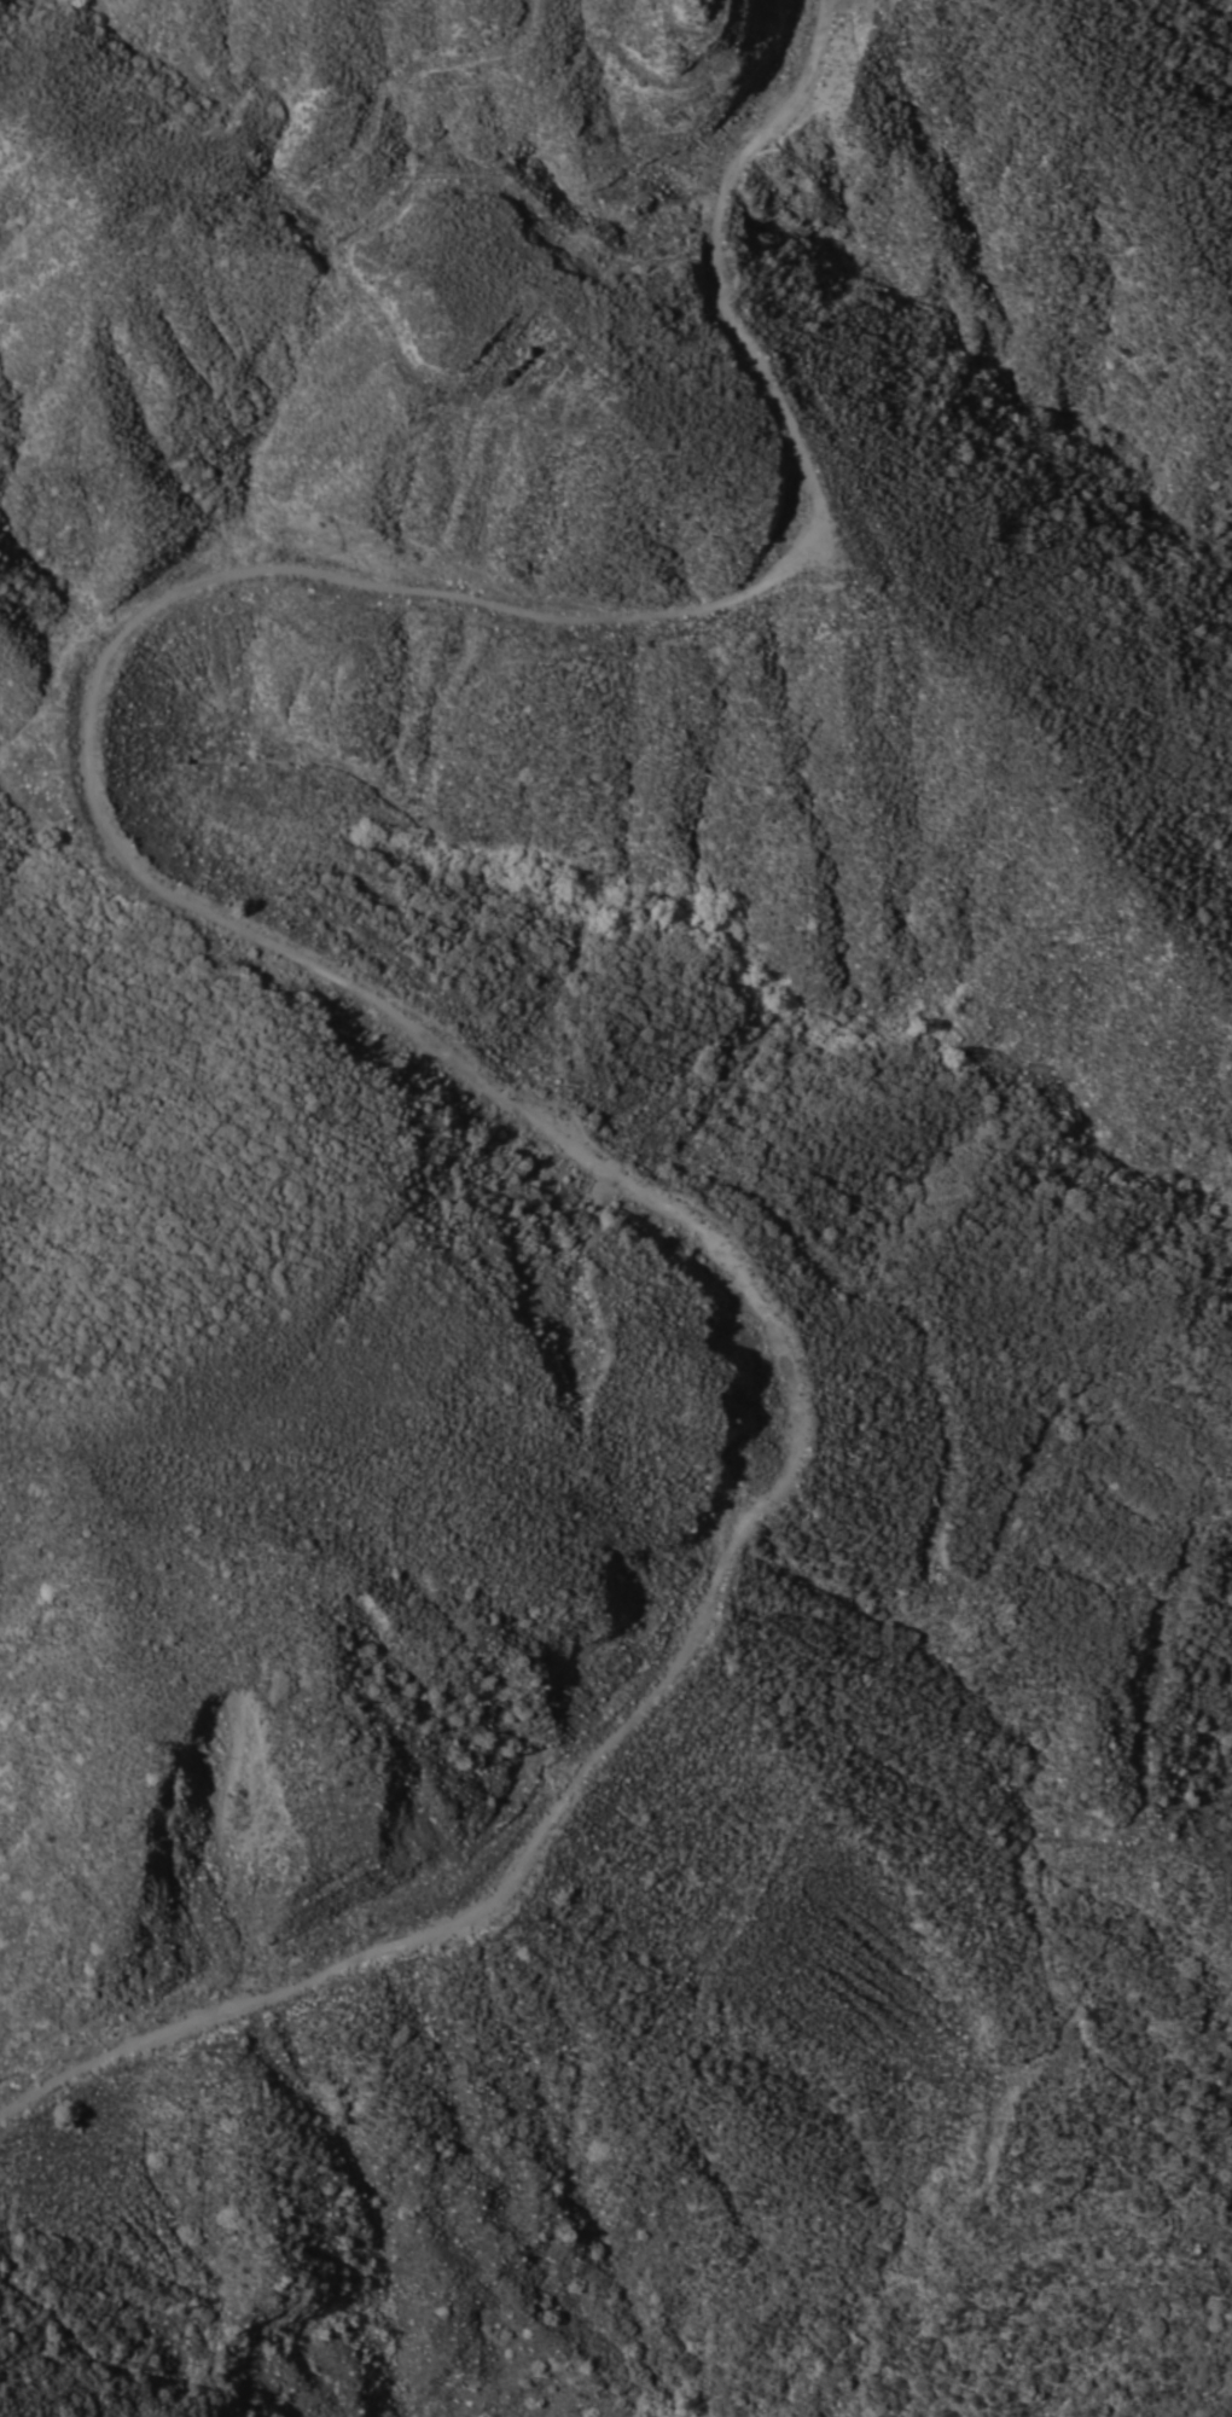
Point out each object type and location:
road: (286, 210)
road: (657, 251)
road: (314, 972)

